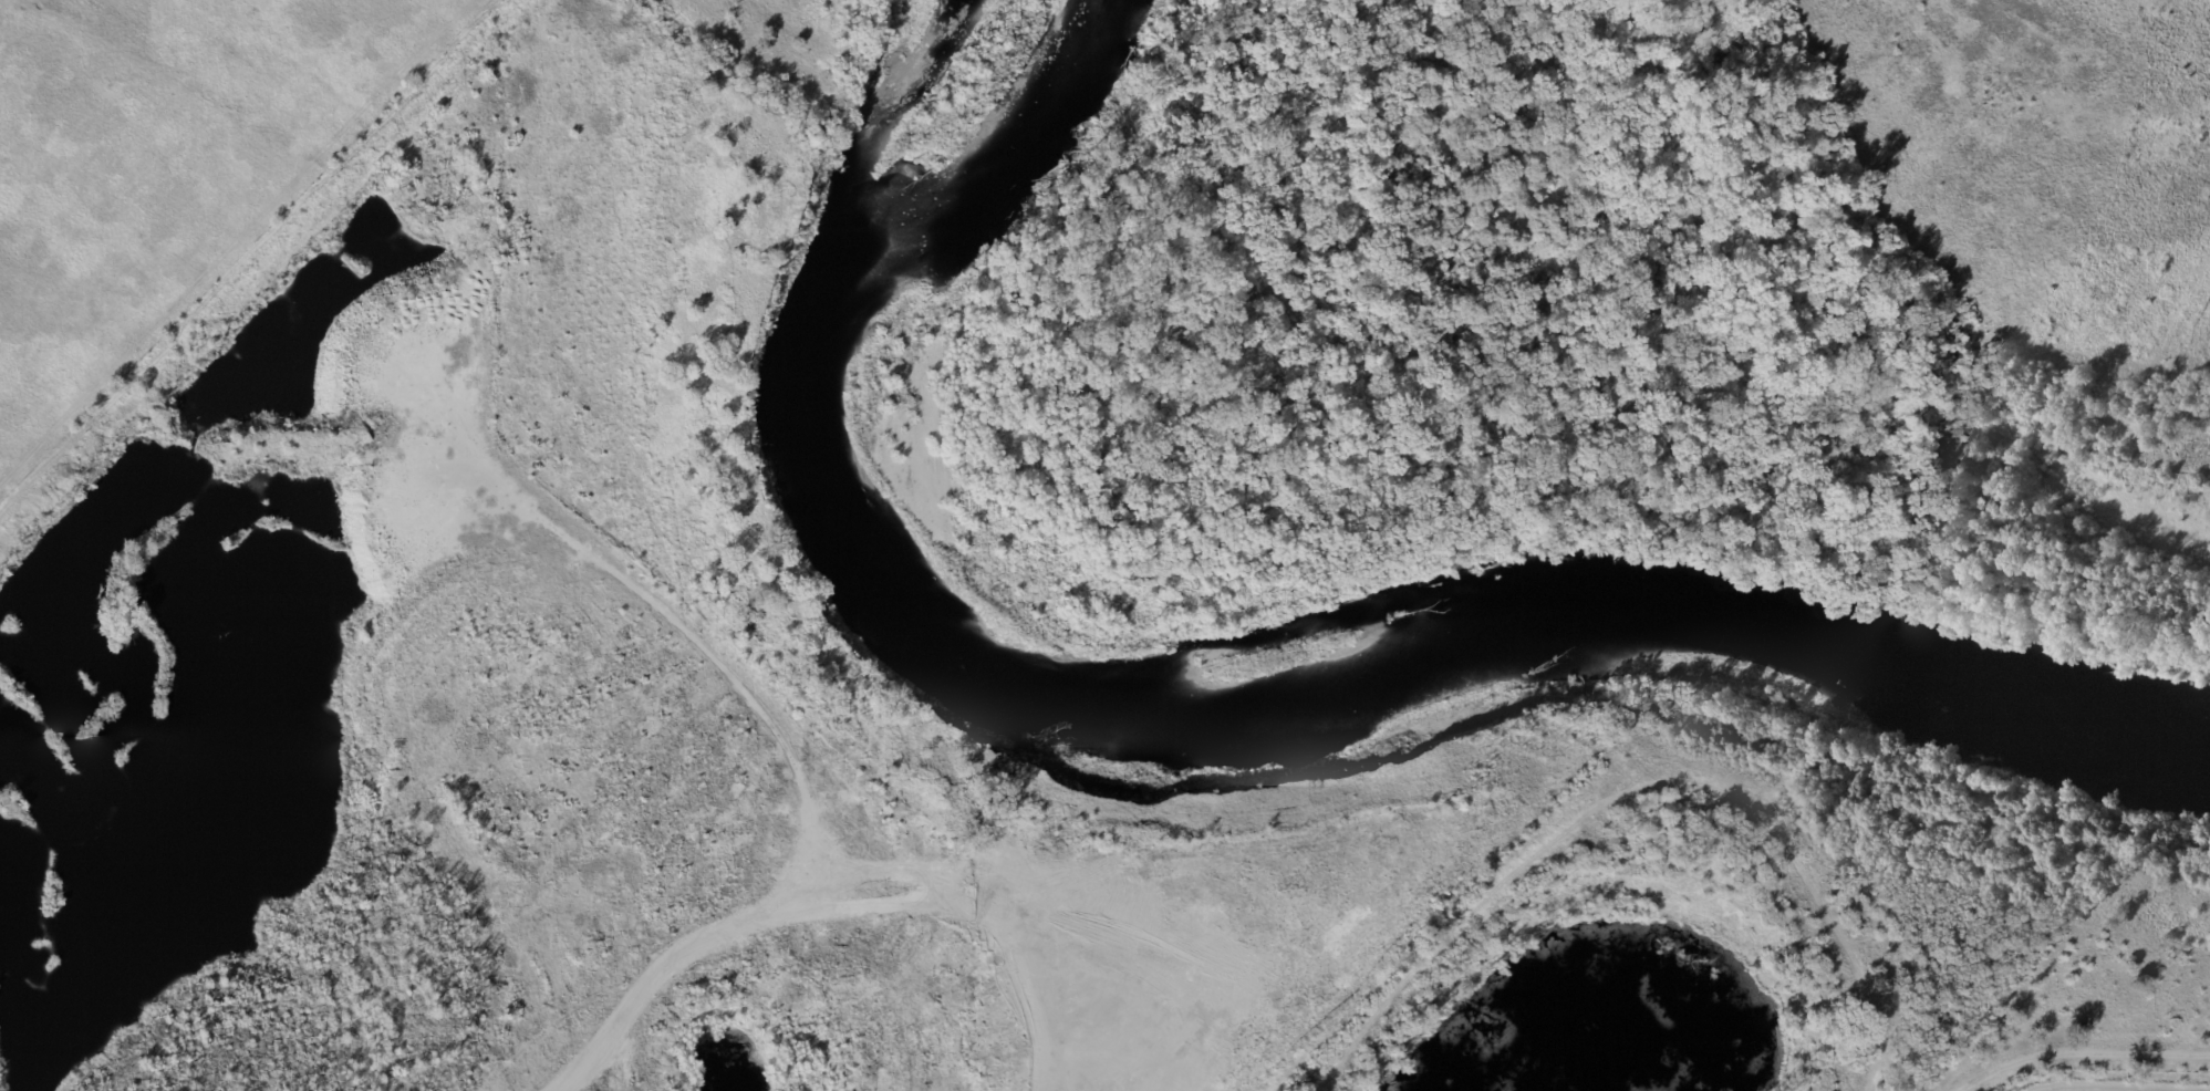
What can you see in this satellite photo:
park: (1580, 321)
river: (1255, 661)
quarry: (609, 688)

